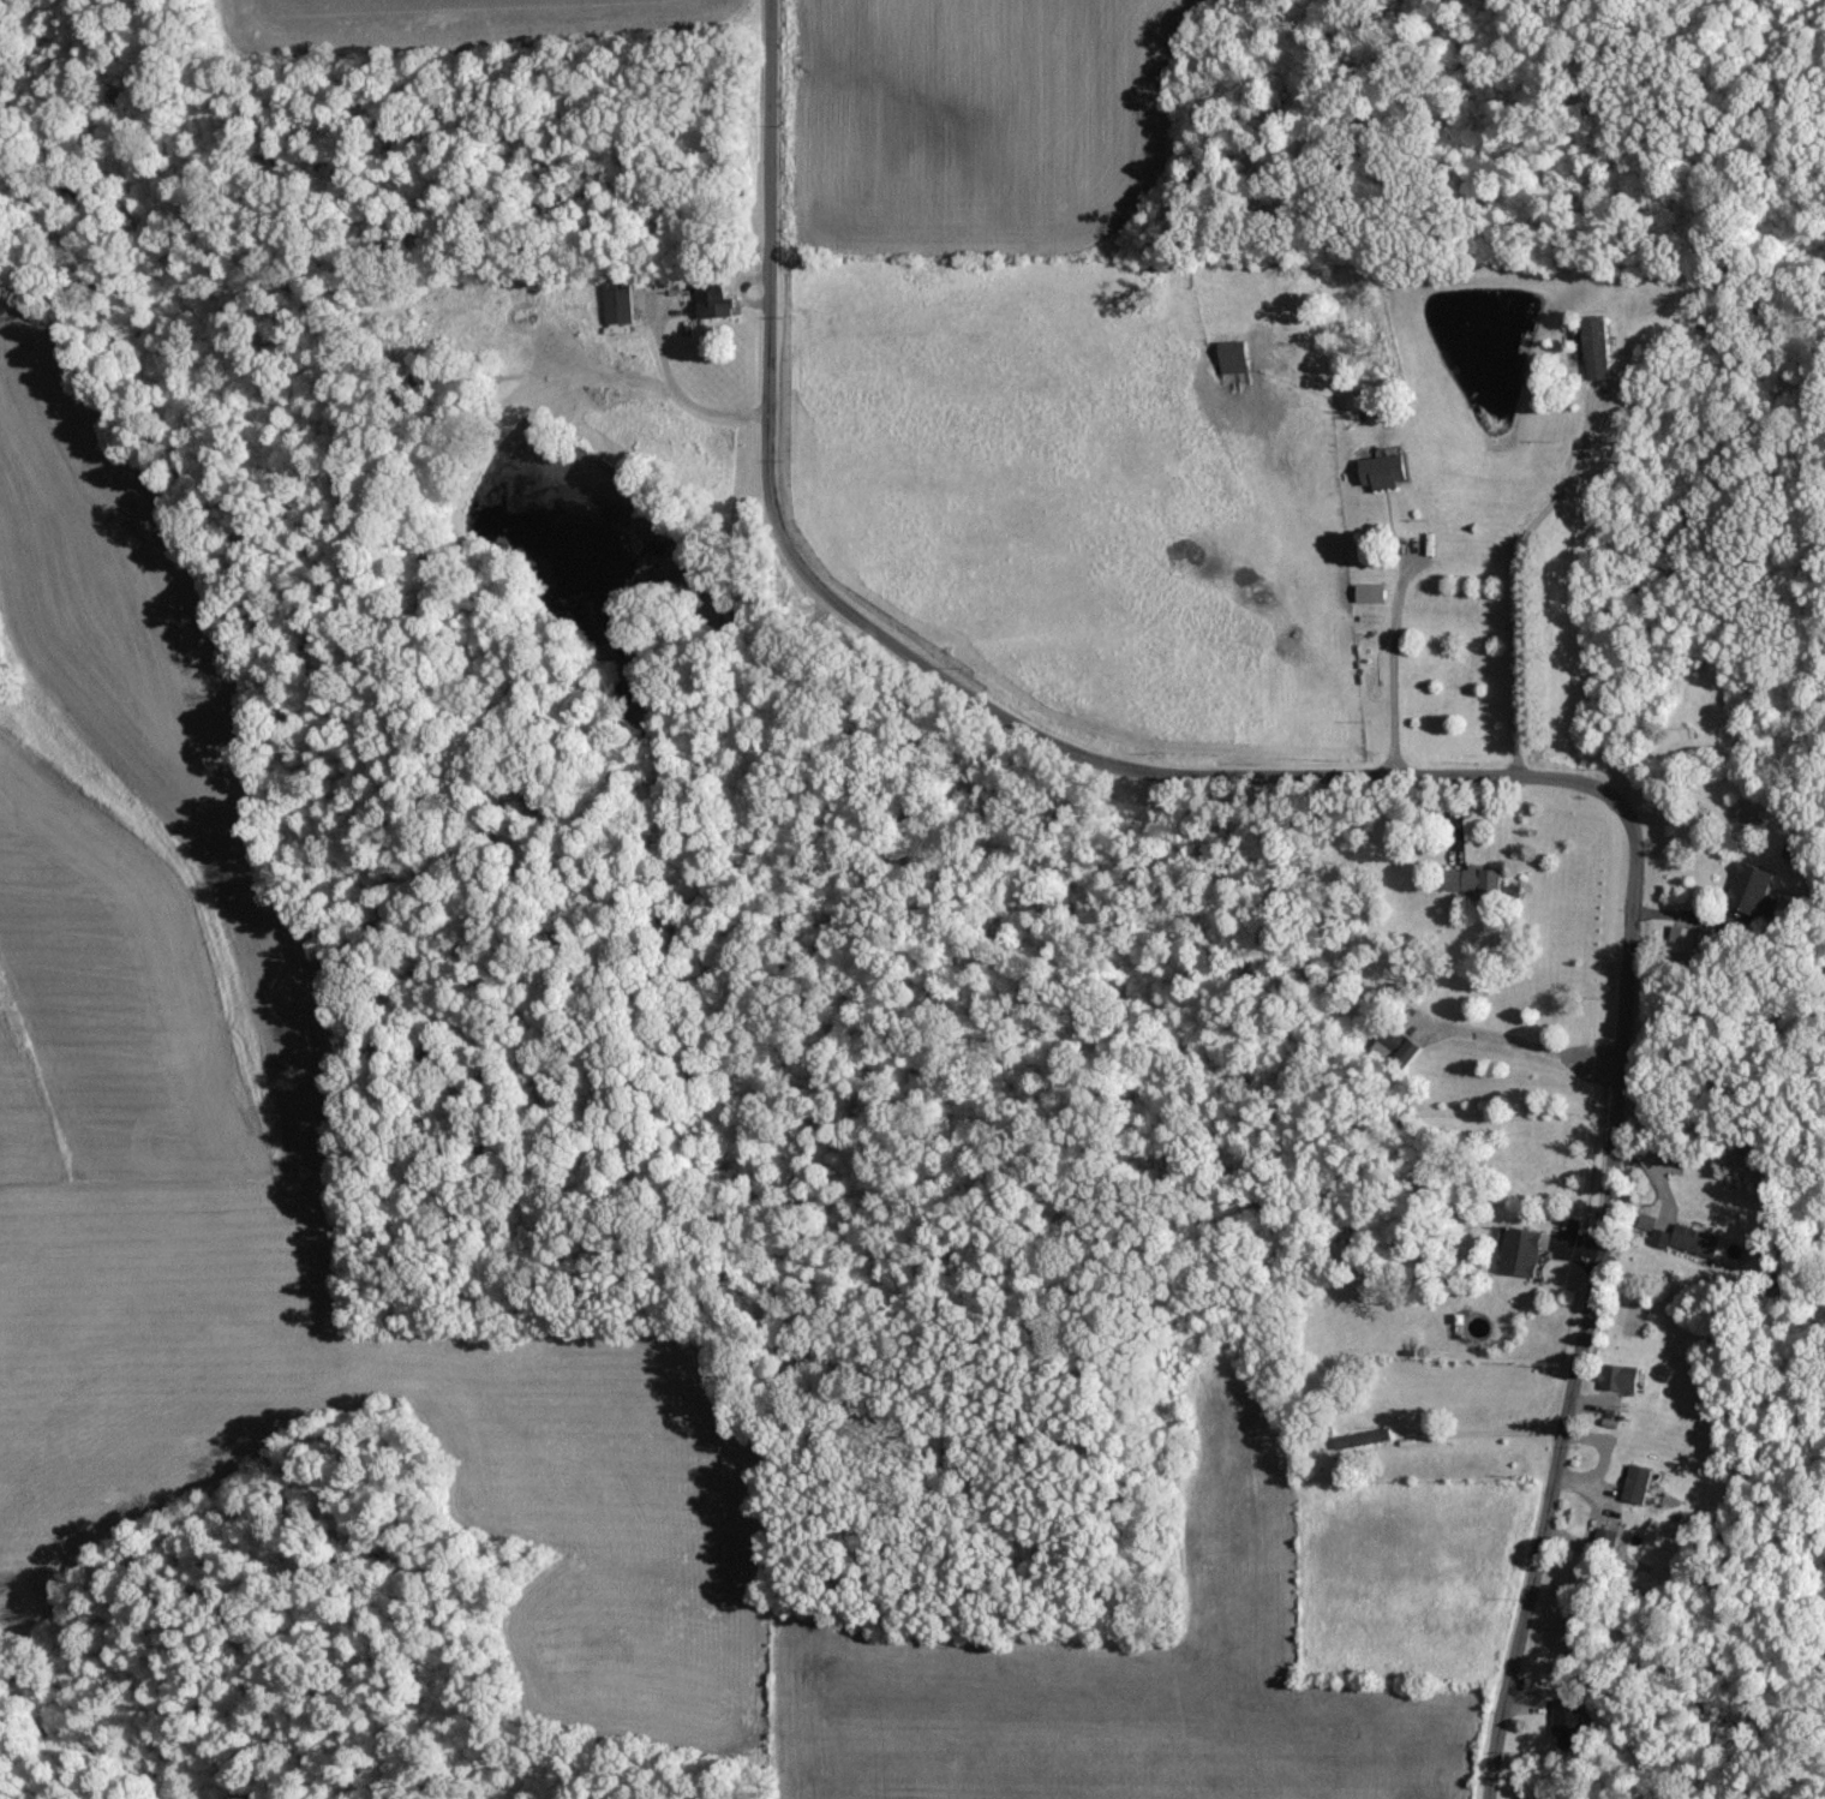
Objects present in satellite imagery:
building: (618, 303)
building: (1598, 347)
building: (1235, 357)
building: (1386, 471)
road: (1509, 582)
building: (1371, 594)
road: (1390, 665)
road: (1400, 773)
building: (1473, 880)
building: (1751, 889)
road: (1525, 1045)
building: (1408, 1053)
building: (1689, 1241)
building: (1522, 1251)
building: (1622, 1380)
building: (1638, 1484)
building: (1603, 1547)
building: (1570, 1727)

